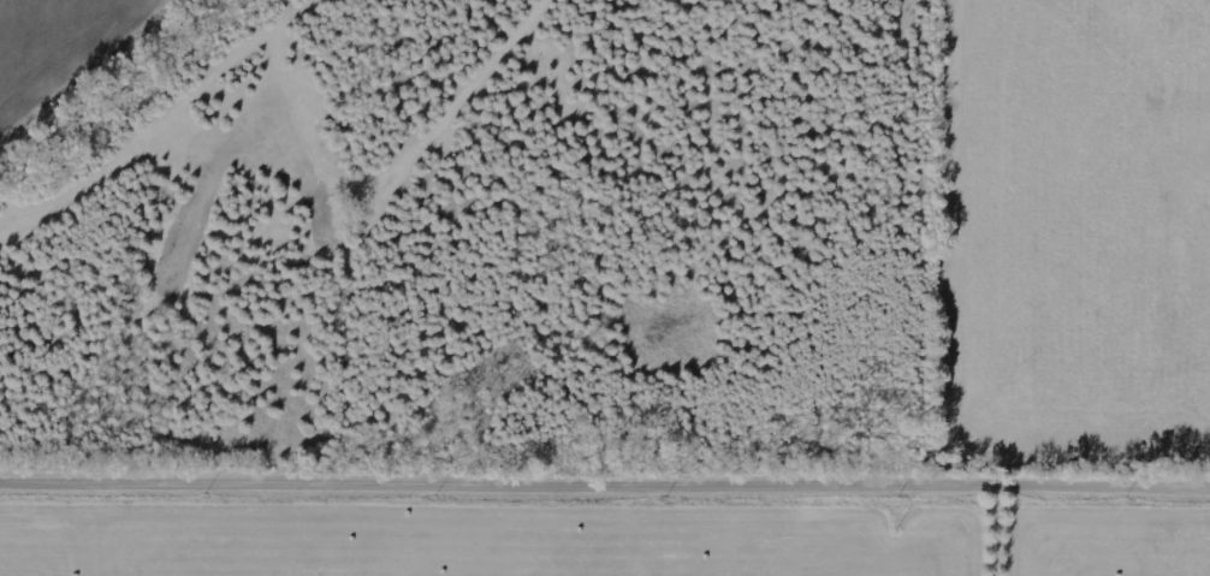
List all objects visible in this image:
road: (605, 493)

